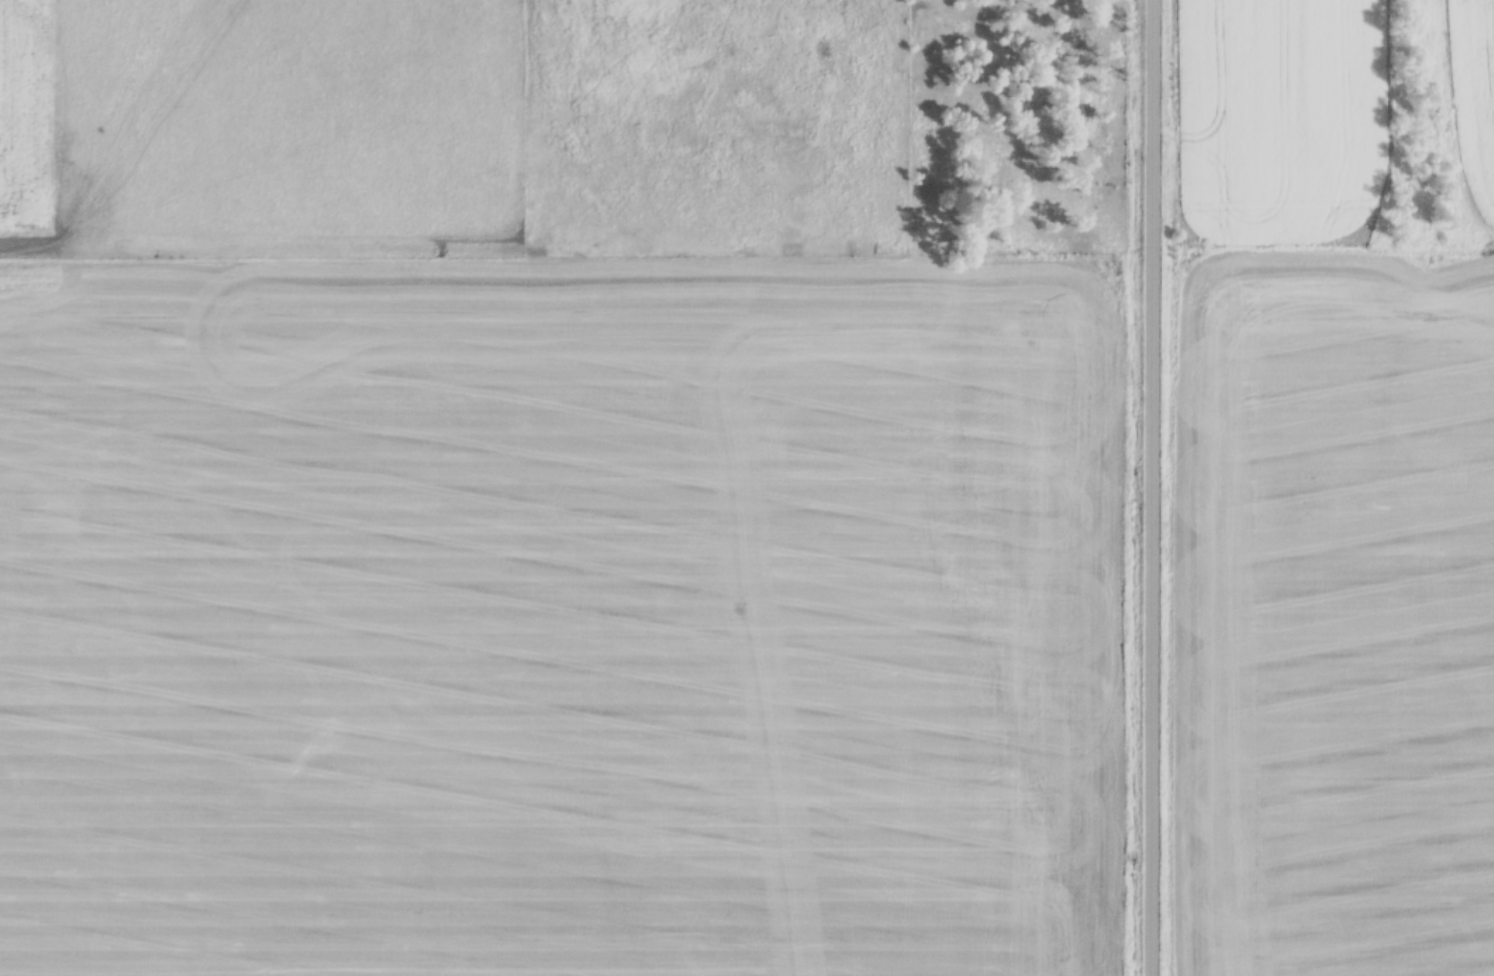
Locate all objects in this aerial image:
road: (1146, 487)

